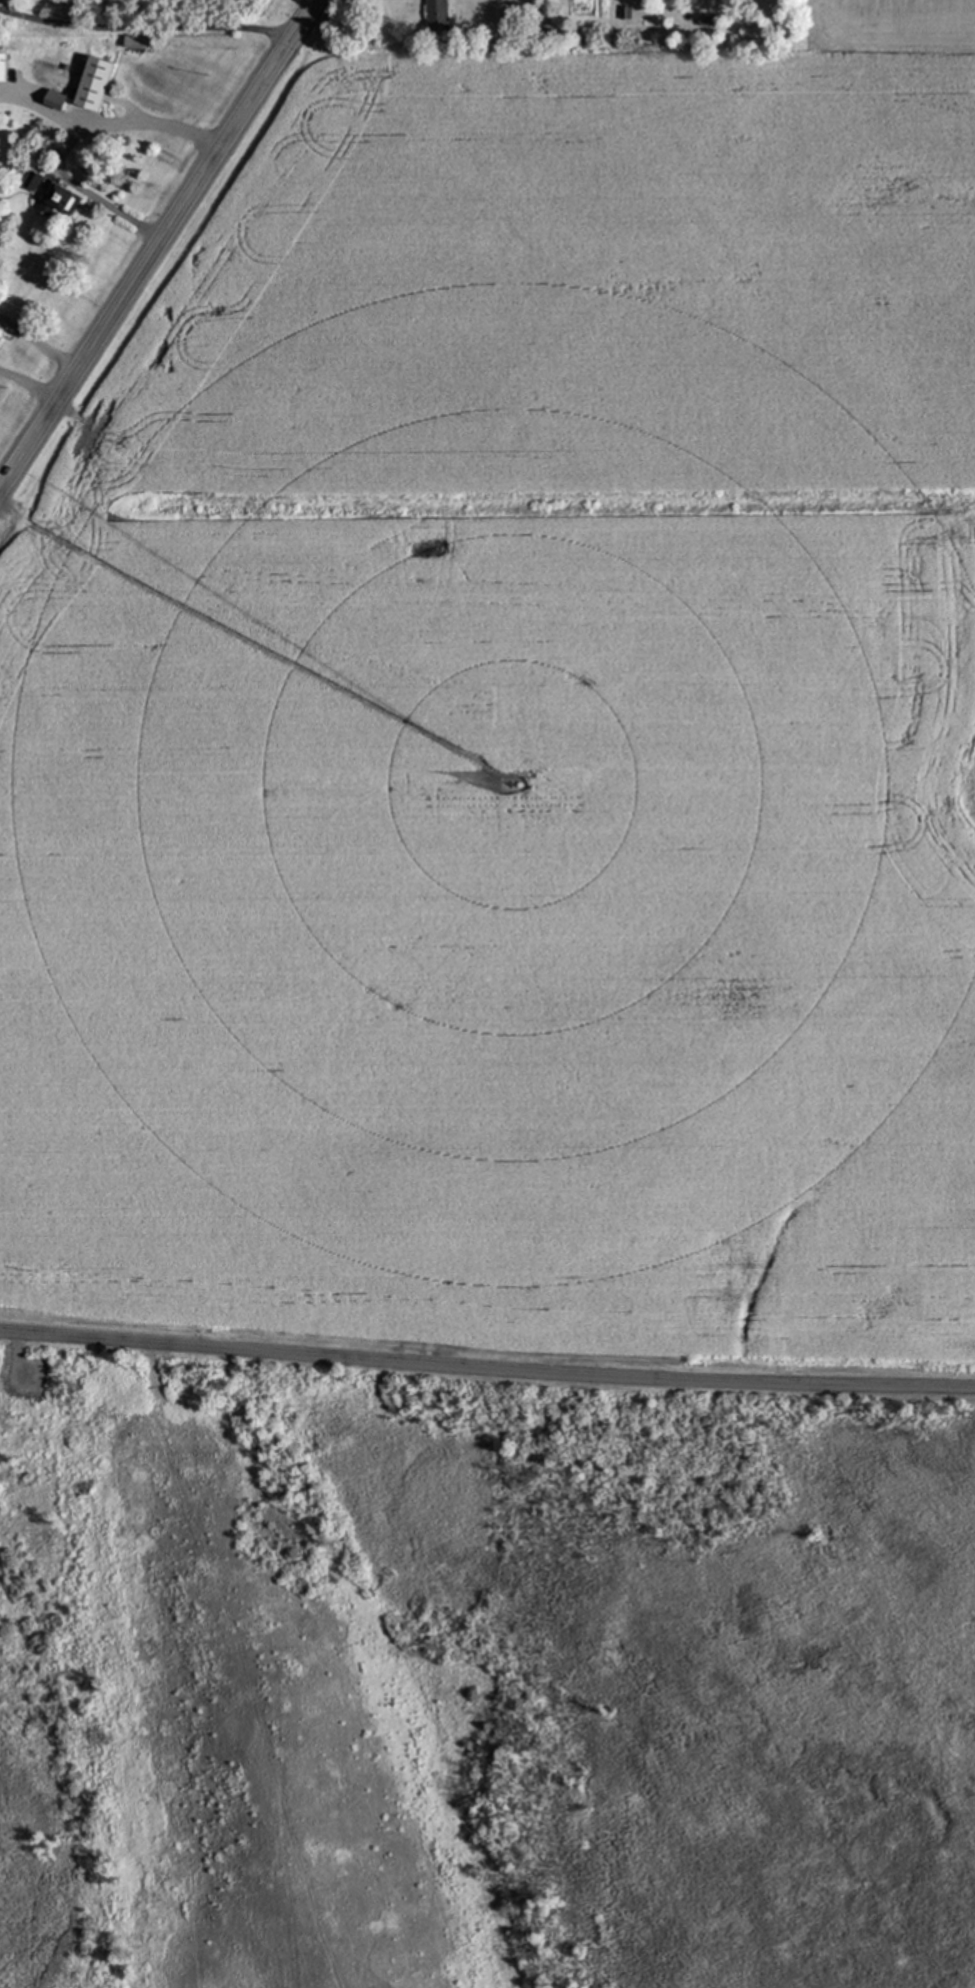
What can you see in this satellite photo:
building: (437, 14)
road: (147, 25)
building: (3, 66)
building: (87, 87)
road: (112, 119)
building: (33, 180)
road: (81, 189)
building: (60, 199)
road: (159, 246)
building: (1, 331)
road: (38, 346)
road: (31, 383)
road: (486, 1373)

